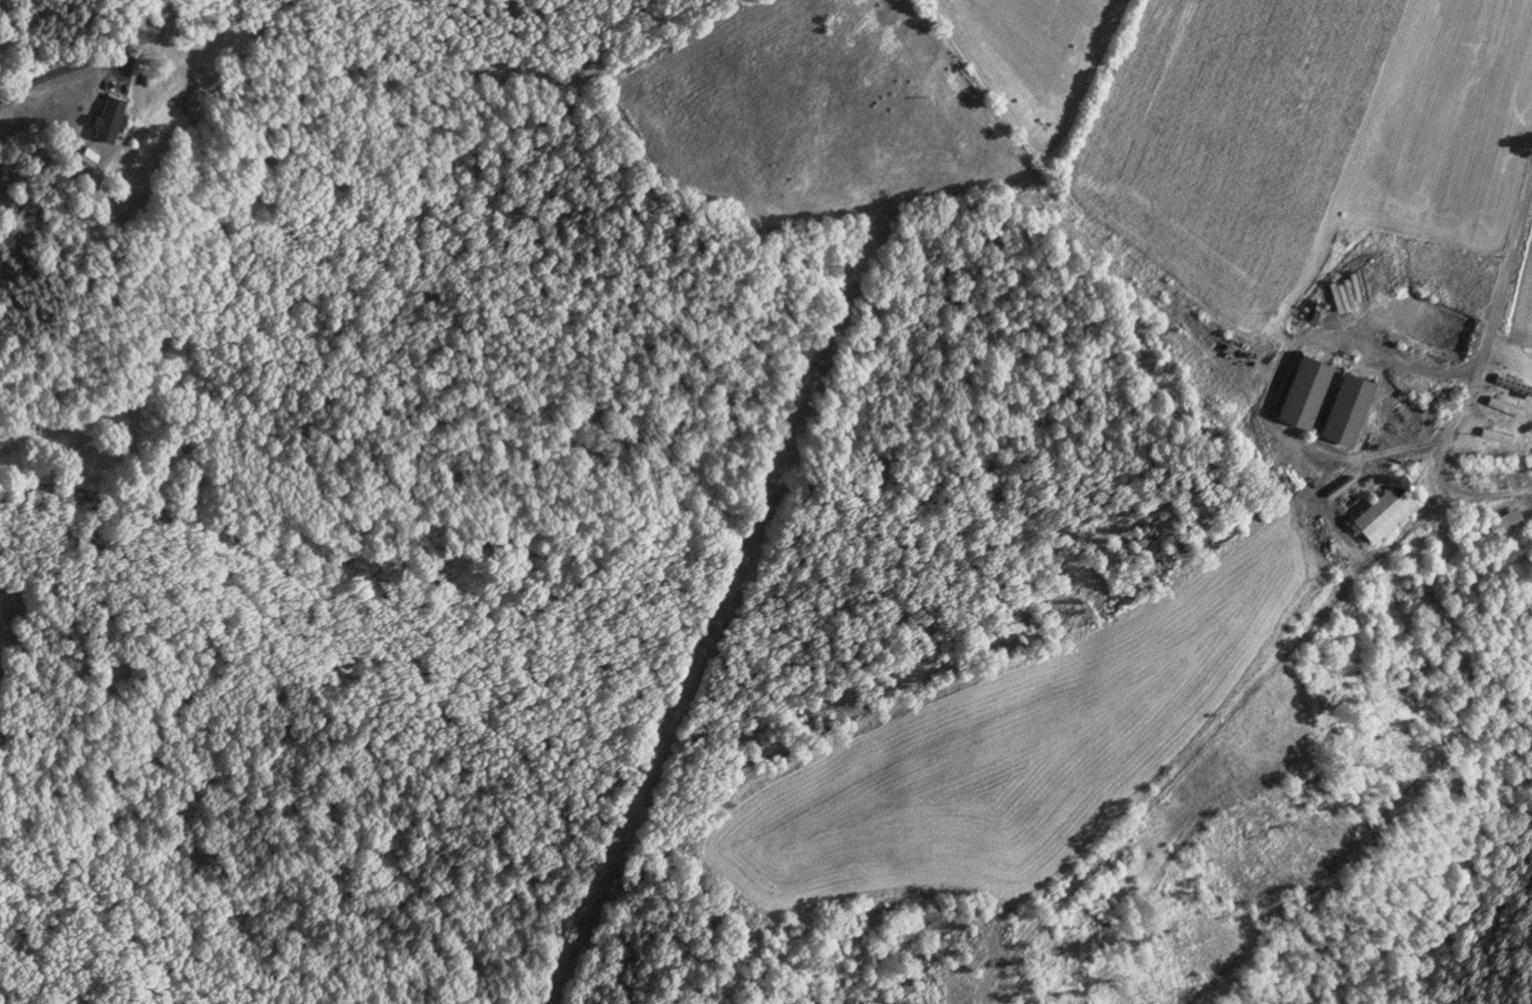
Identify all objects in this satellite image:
building: (108, 117)
road: (1477, 379)
building: (1505, 405)
building: (1496, 434)
building: (1383, 511)
building: (1504, 518)

